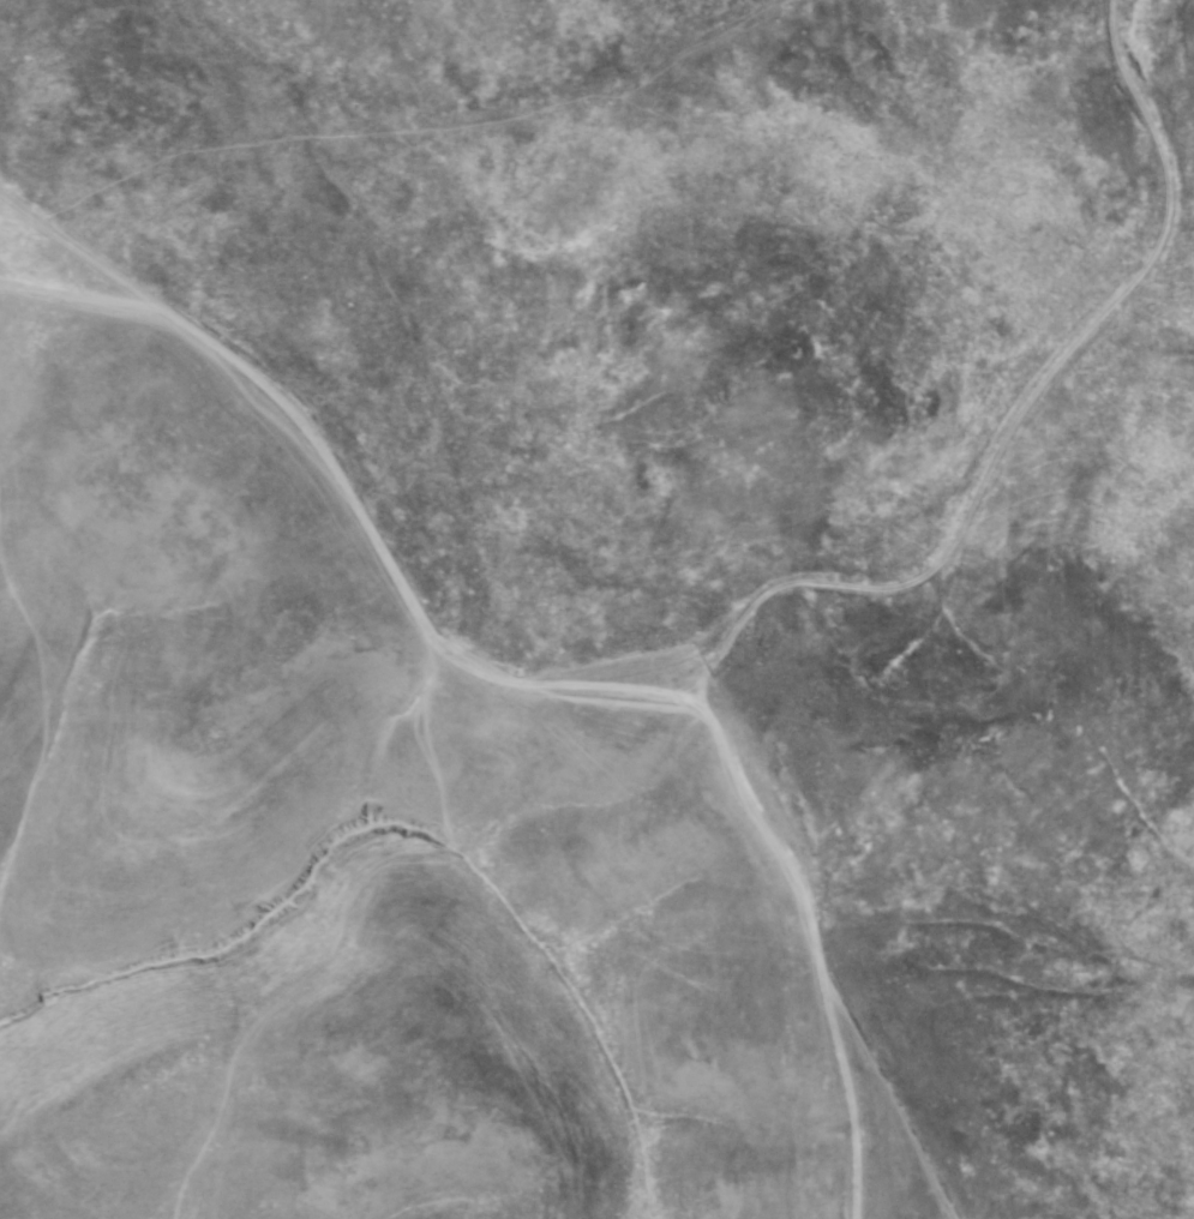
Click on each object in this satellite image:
road: (1022, 418)
road: (518, 678)

